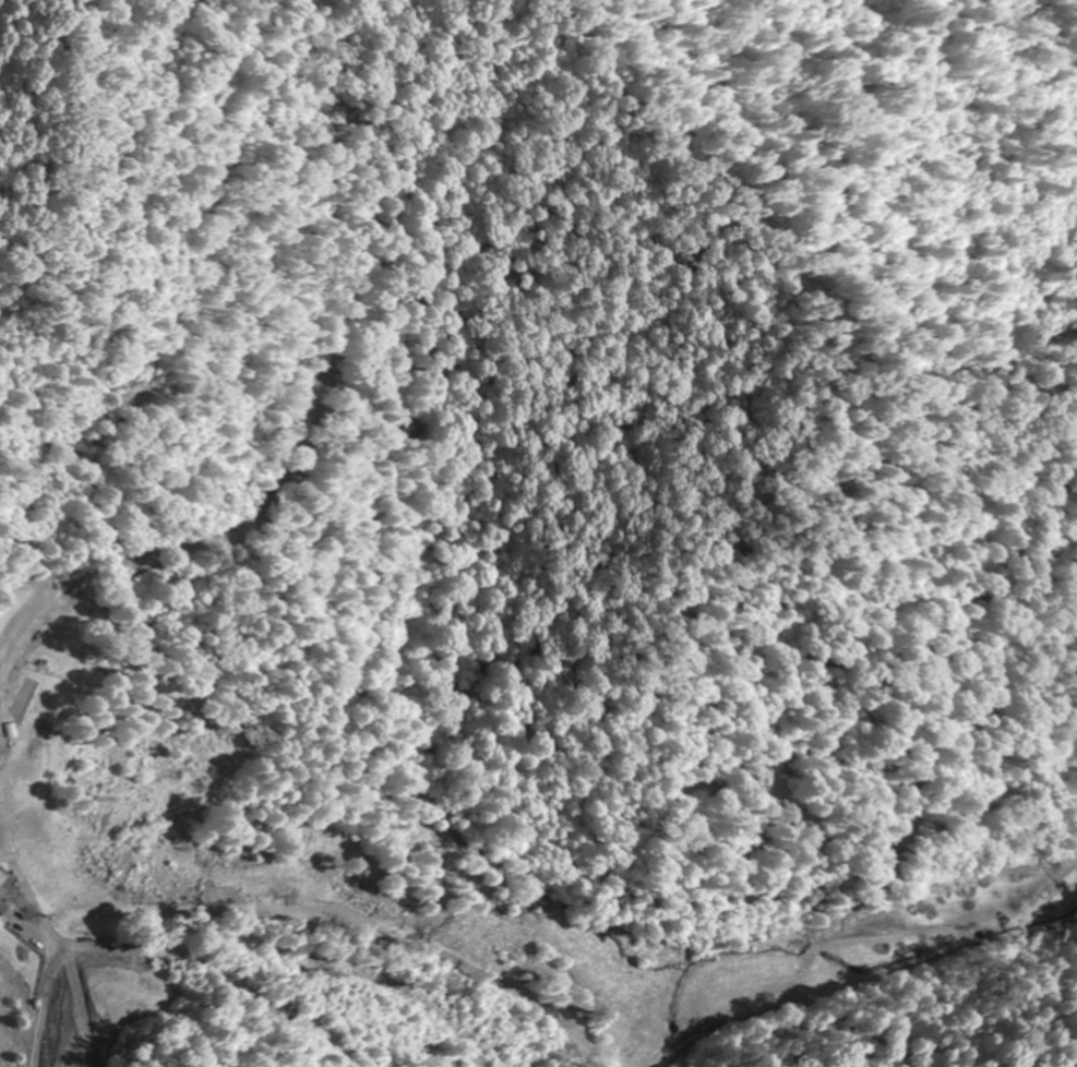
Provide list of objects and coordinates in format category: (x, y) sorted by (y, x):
building: (1, 878)
building: (1, 892)
road: (39, 1005)
road: (99, 1012)

